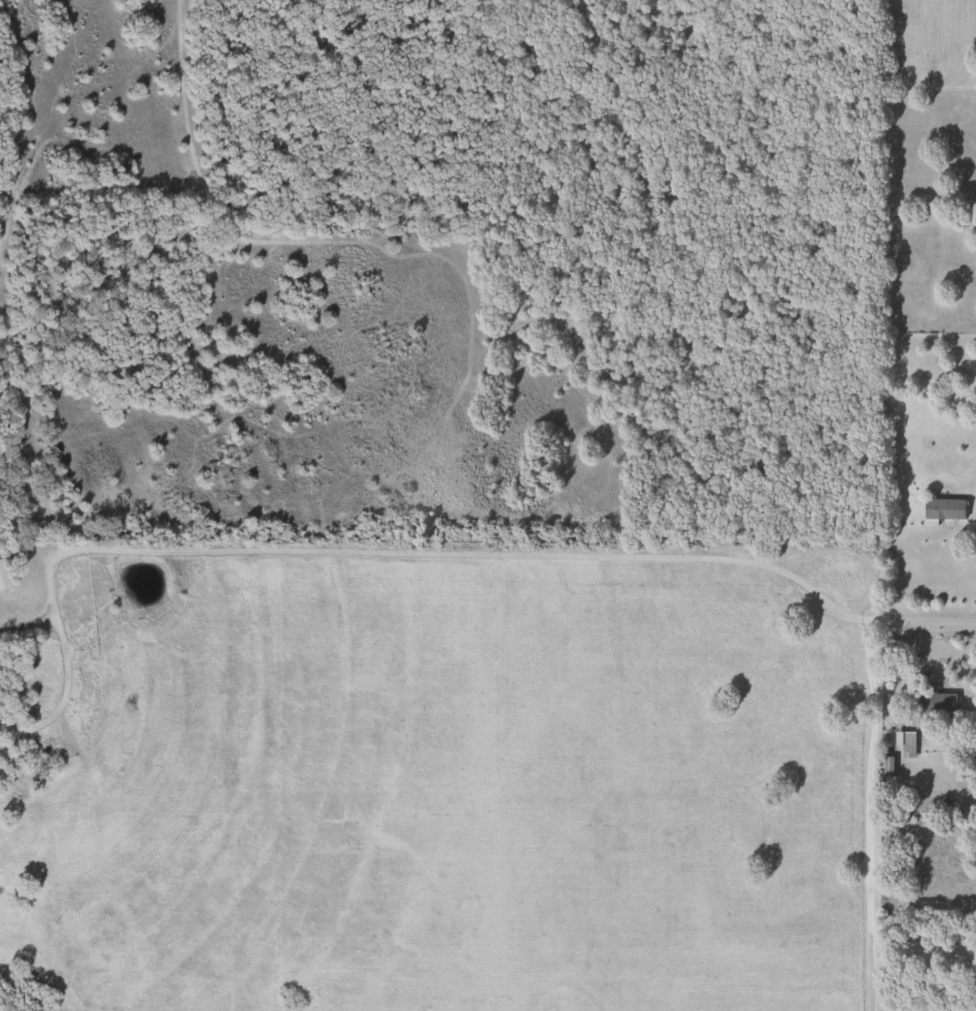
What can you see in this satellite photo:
building: (975, 495)
building: (943, 509)
road: (413, 554)
building: (3, 577)
road: (29, 620)
building: (933, 702)
building: (904, 743)
building: (884, 768)
road: (871, 815)
road: (918, 951)

